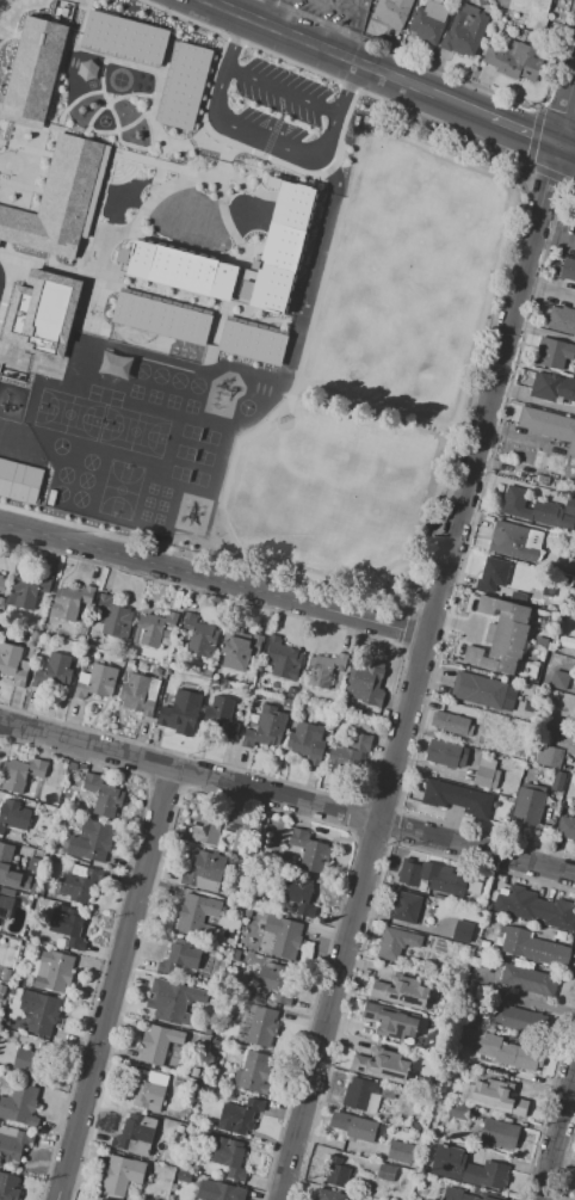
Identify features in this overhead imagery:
building: (482, 2)
road: (262, 11)
building: (391, 11)
building: (532, 12)
road: (278, 14)
road: (355, 18)
building: (429, 20)
building: (464, 30)
building: (122, 36)
road: (346, 59)
building: (514, 60)
building: (33, 70)
building: (184, 85)
road: (282, 90)
road: (520, 133)
road: (264, 139)
road: (564, 150)
building: (56, 198)
building: (574, 222)
road: (552, 239)
building: (280, 247)
building: (180, 269)
building: (568, 270)
building: (41, 312)
building: (160, 318)
building: (561, 320)
building: (252, 340)
building: (552, 353)
building: (574, 370)
building: (552, 388)
building: (549, 426)
building: (19, 479)
building: (543, 479)
building: (513, 501)
building: (570, 505)
building: (512, 541)
building: (569, 565)
building: (491, 574)
building: (573, 580)
road: (212, 581)
building: (1, 583)
building: (29, 590)
building: (548, 590)
building: (1, 601)
building: (70, 602)
building: (112, 616)
building: (156, 629)
road: (427, 633)
building: (36, 635)
building: (199, 635)
building: (501, 635)
building: (567, 641)
building: (74, 647)
building: (239, 647)
building: (106, 657)
building: (284, 659)
building: (13, 664)
building: (129, 664)
building: (324, 669)
building: (52, 670)
building: (157, 672)
building: (206, 672)
building: (559, 679)
building: (367, 681)
building: (95, 682)
building: (215, 684)
building: (478, 690)
building: (353, 693)
building: (140, 694)
building: (259, 697)
building: (287, 702)
building: (290, 710)
building: (180, 713)
building: (222, 715)
building: (452, 724)
building: (266, 728)
building: (305, 741)
building: (565, 744)
building: (350, 752)
building: (445, 753)
building: (474, 757)
building: (550, 757)
building: (574, 757)
building: (517, 764)
building: (23, 773)
building: (487, 773)
building: (558, 781)
building: (103, 795)
road: (286, 799)
building: (457, 799)
building: (527, 806)
building: (574, 806)
building: (11, 816)
building: (223, 827)
building: (567, 827)
building: (92, 841)
building: (310, 850)
building: (7, 868)
building: (205, 872)
building: (432, 876)
building: (79, 882)
building: (298, 894)
building: (5, 906)
building: (406, 907)
building: (536, 907)
building: (197, 915)
building: (69, 929)
building: (462, 931)
building: (283, 936)
building: (396, 943)
building: (533, 948)
building: (180, 959)
building: (55, 972)
building: (527, 980)
building: (276, 981)
road: (112, 984)
building: (402, 991)
building: (173, 1001)
building: (39, 1011)
building: (518, 1019)
building: (391, 1020)
building: (262, 1026)
building: (157, 1044)
building: (508, 1052)
building: (32, 1063)
building: (382, 1065)
building: (253, 1072)
building: (144, 1090)
building: (388, 1091)
building: (360, 1095)
building: (499, 1096)
road: (570, 1096)
building: (19, 1106)
building: (458, 1110)
building: (240, 1115)
building: (353, 1126)
road: (556, 1132)
building: (134, 1134)
building: (497, 1136)
building: (13, 1146)
building: (401, 1151)
building: (229, 1158)
building: (468, 1169)
building: (336, 1173)
building: (385, 1173)
building: (120, 1174)
building: (8, 1187)
building: (218, 1190)
building: (457, 1194)
building: (328, 1195)
building: (104, 1199)

